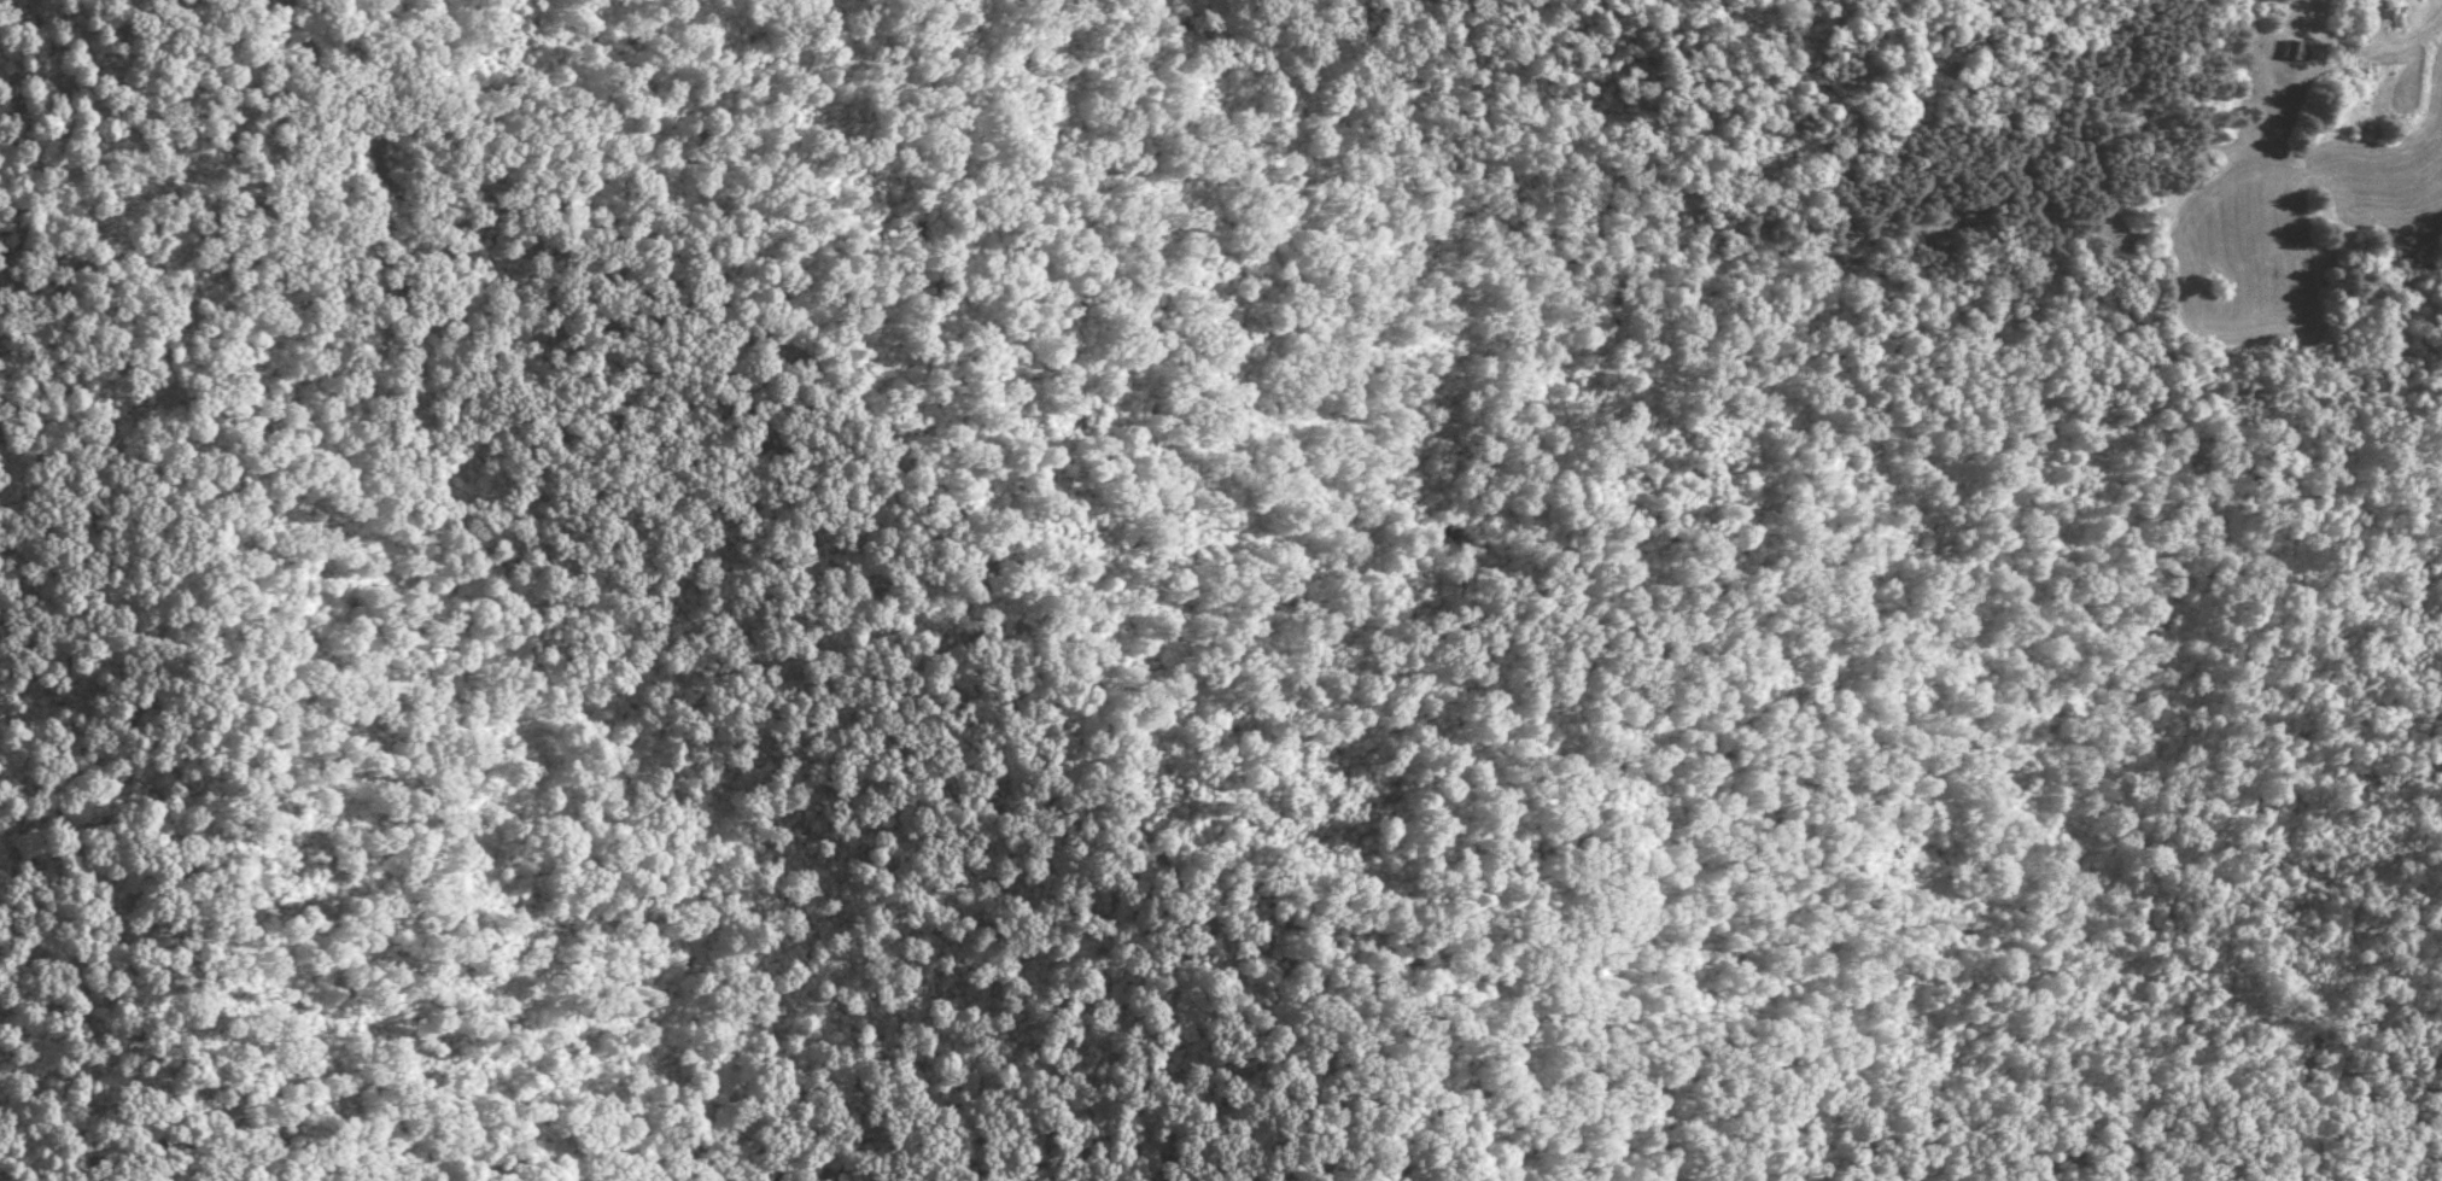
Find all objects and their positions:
building: (2390, 11)
building: (2295, 48)

